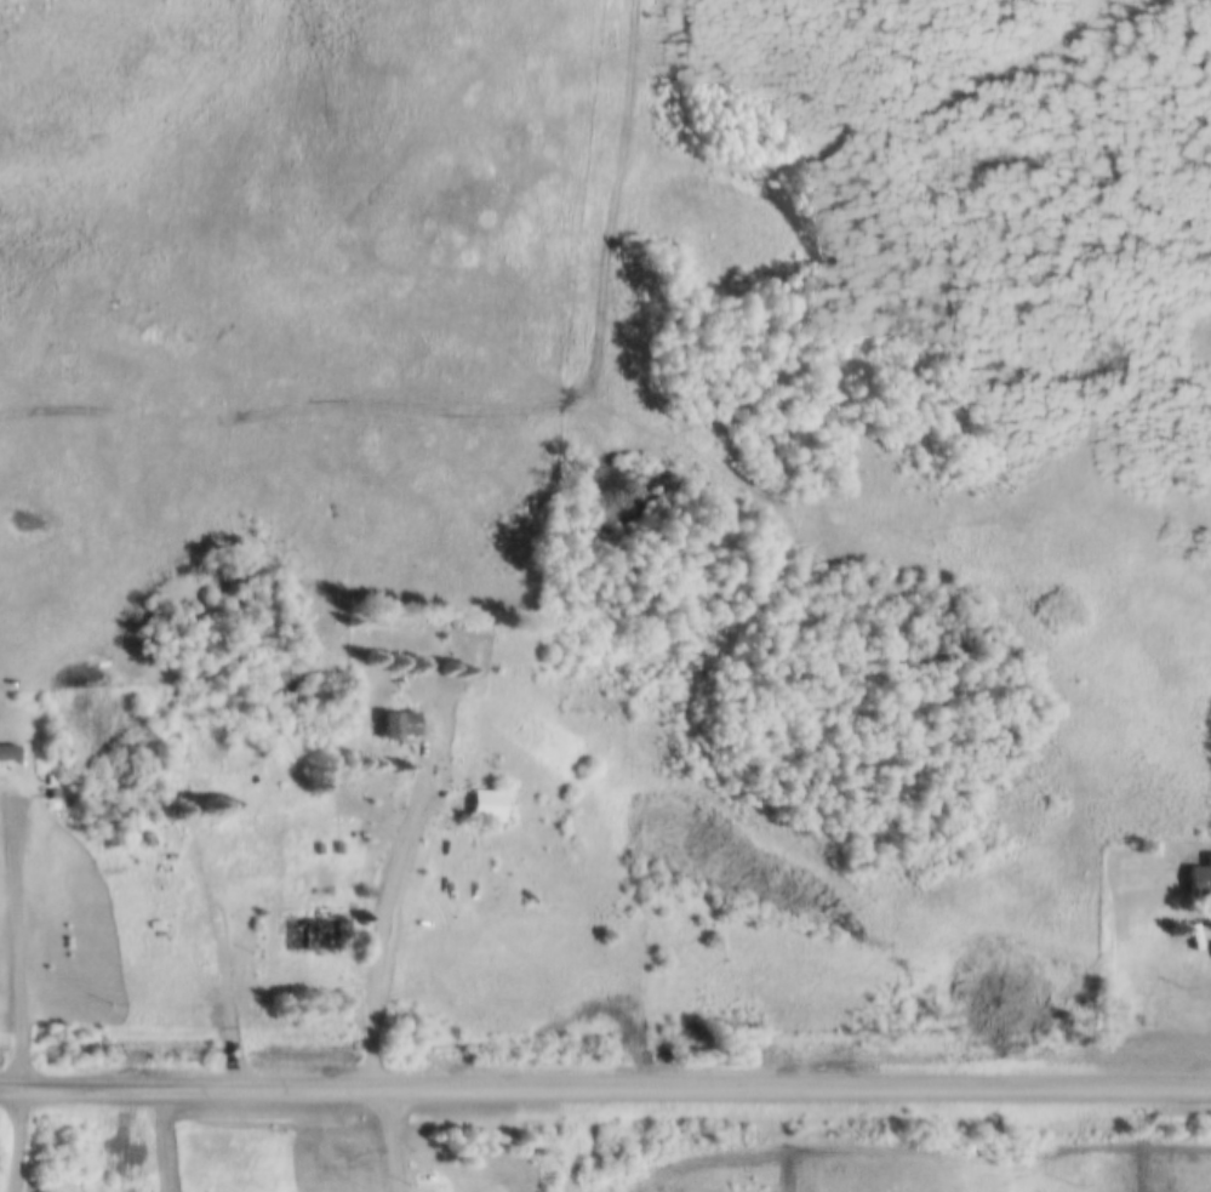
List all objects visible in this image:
building: (398, 719)
building: (8, 748)
building: (8, 757)
building: (51, 776)
building: (190, 781)
building: (55, 798)
building: (267, 802)
building: (486, 802)
building: (149, 835)
building: (273, 840)
building: (258, 843)
building: (281, 843)
building: (289, 843)
building: (320, 845)
building: (339, 845)
building: (307, 848)
building: (1199, 879)
road: (384, 912)
building: (310, 929)
road: (227, 974)
road: (24, 983)
road: (12, 1082)
road: (617, 1087)
road: (393, 1139)

